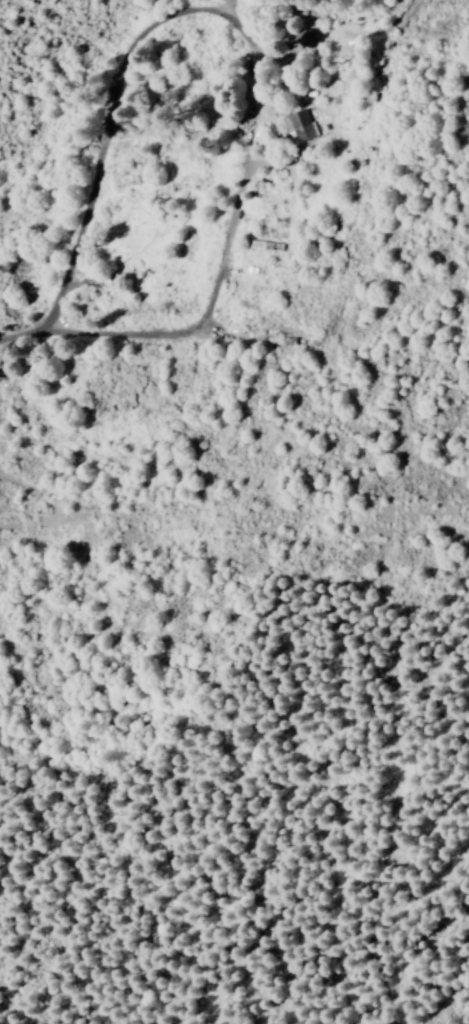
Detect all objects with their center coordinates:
building: (297, 126)

